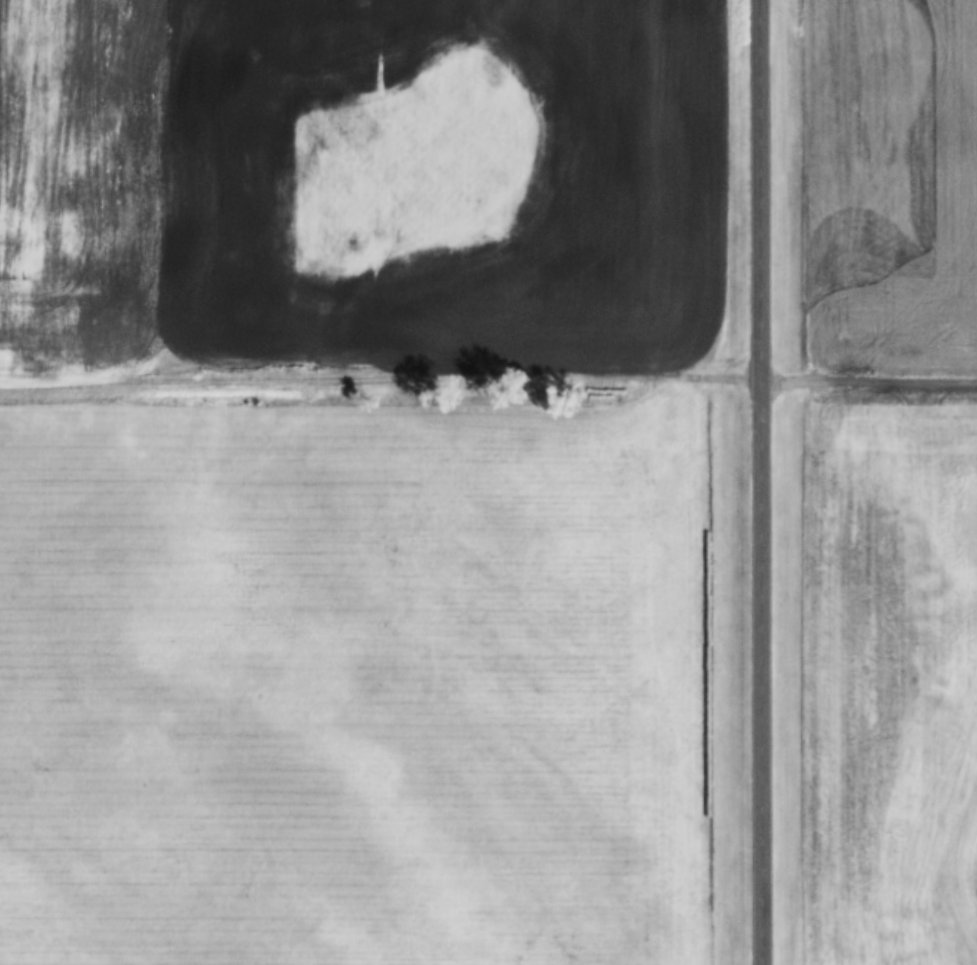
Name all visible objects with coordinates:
road: (488, 373)
road: (759, 482)

